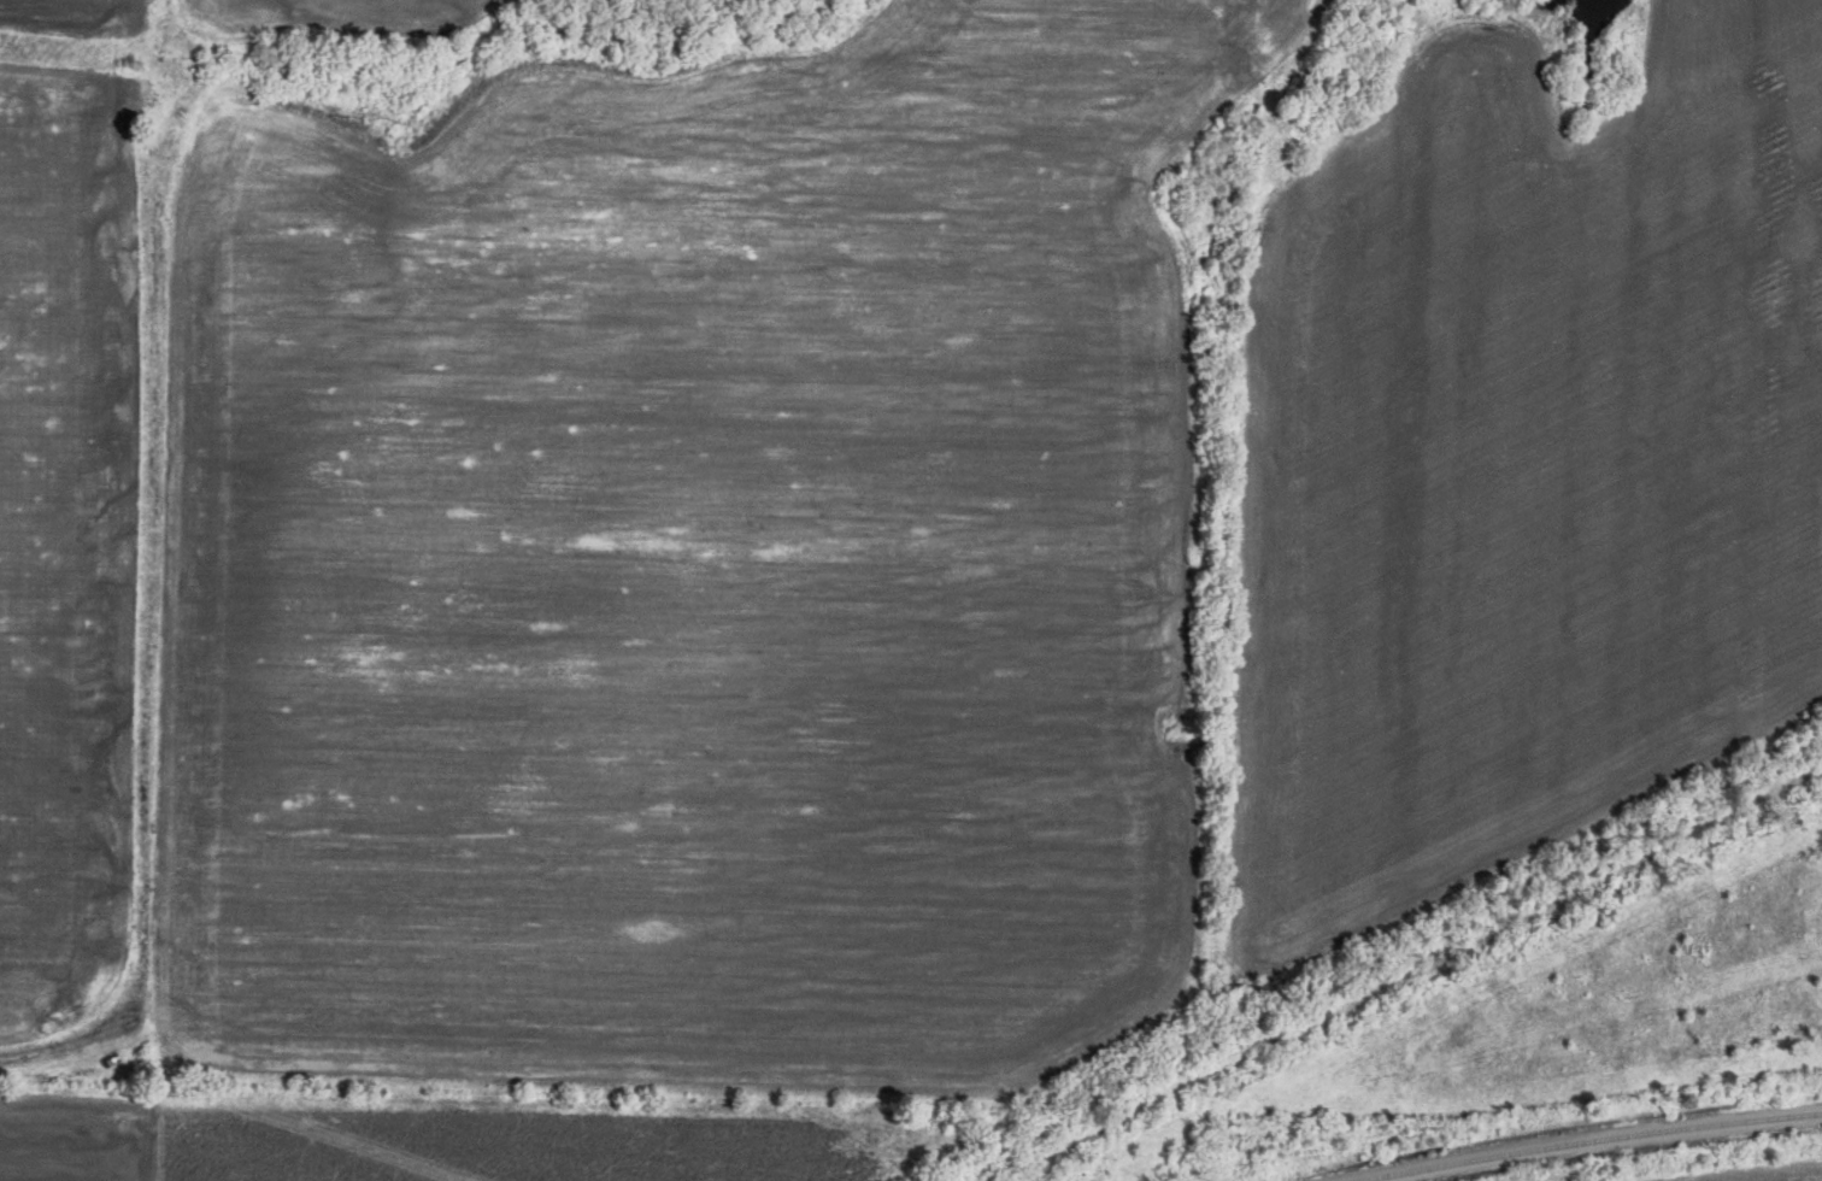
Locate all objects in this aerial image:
railway: (1552, 1132)

